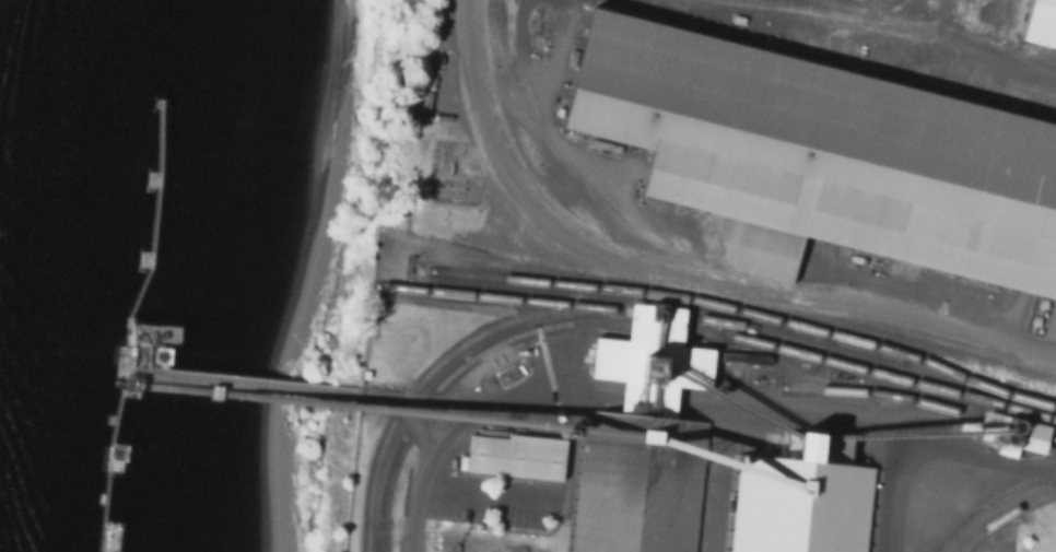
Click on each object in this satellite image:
building: (1041, 23)
road: (929, 42)
building: (817, 151)
road: (587, 228)
railway: (709, 269)
railway: (701, 279)
railway: (498, 301)
railway: (729, 308)
railway: (642, 315)
pier: (127, 321)
building: (1052, 326)
road: (952, 328)
railway: (654, 330)
building: (736, 355)
pier: (242, 385)
railway: (890, 387)
railway: (953, 388)
road: (587, 395)
road: (650, 398)
railway: (923, 406)
road: (869, 423)
building: (1014, 433)
road: (446, 441)
building: (646, 442)
building: (518, 459)
road: (896, 495)
building: (806, 500)
railway: (995, 507)
railway: (1004, 516)
railway: (380, 538)

